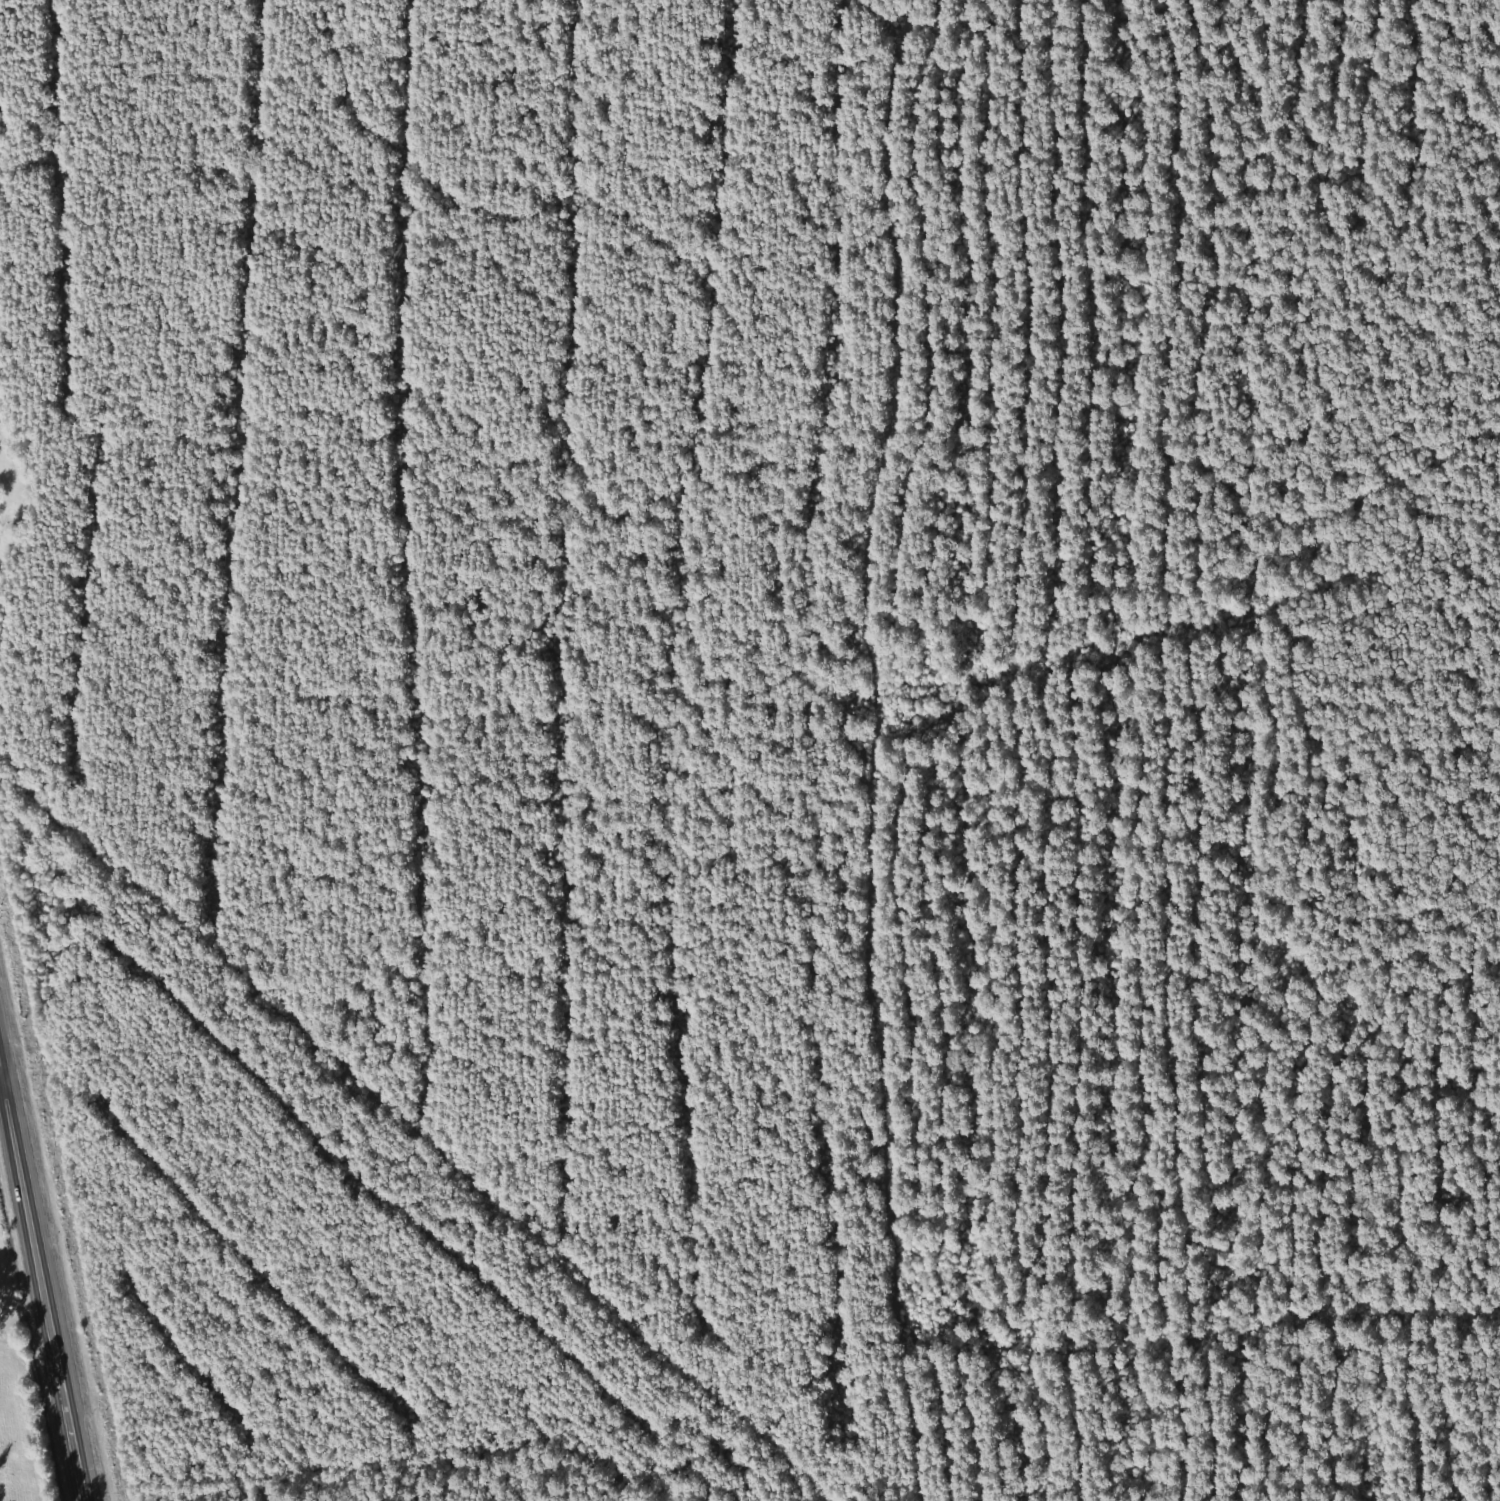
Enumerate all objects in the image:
road: (3, 1095)
road: (46, 1280)

